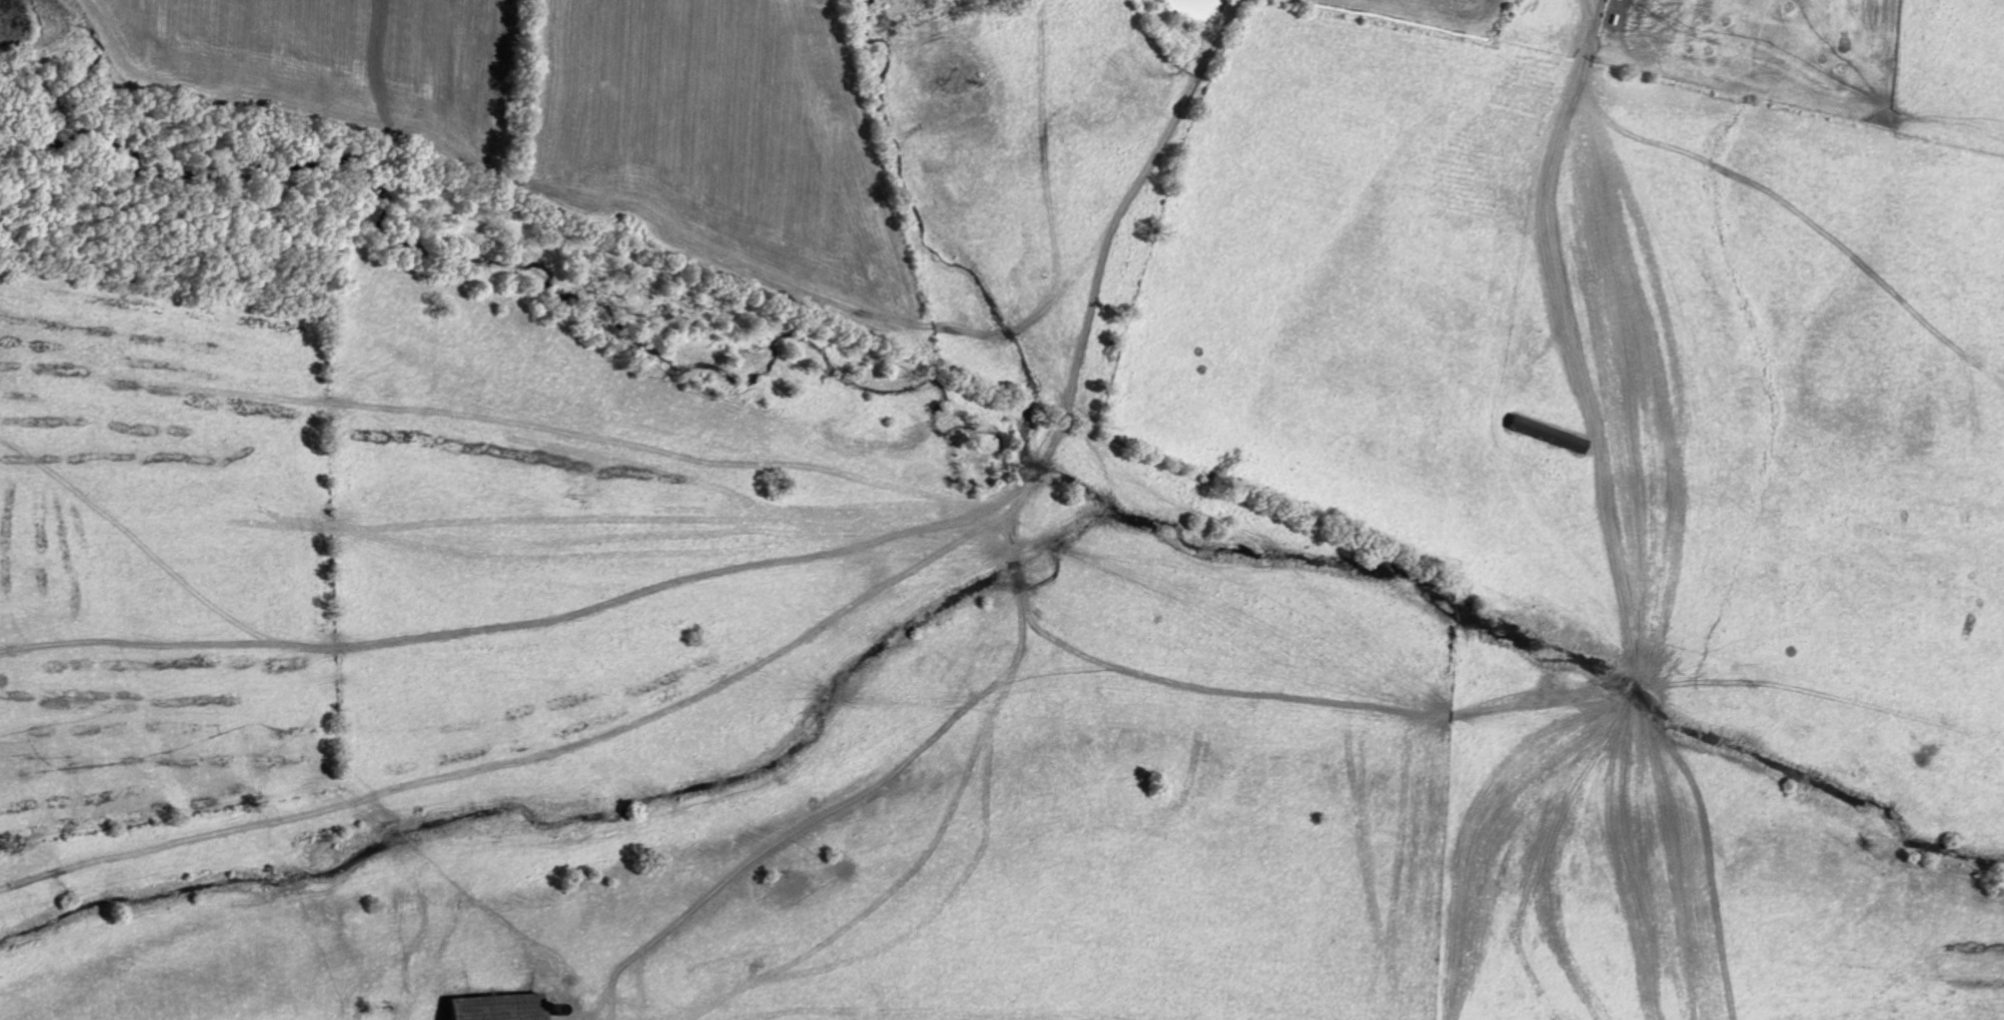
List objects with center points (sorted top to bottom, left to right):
road: (1475, 851)
road: (1667, 887)
road: (340, 993)
building: (492, 1007)

